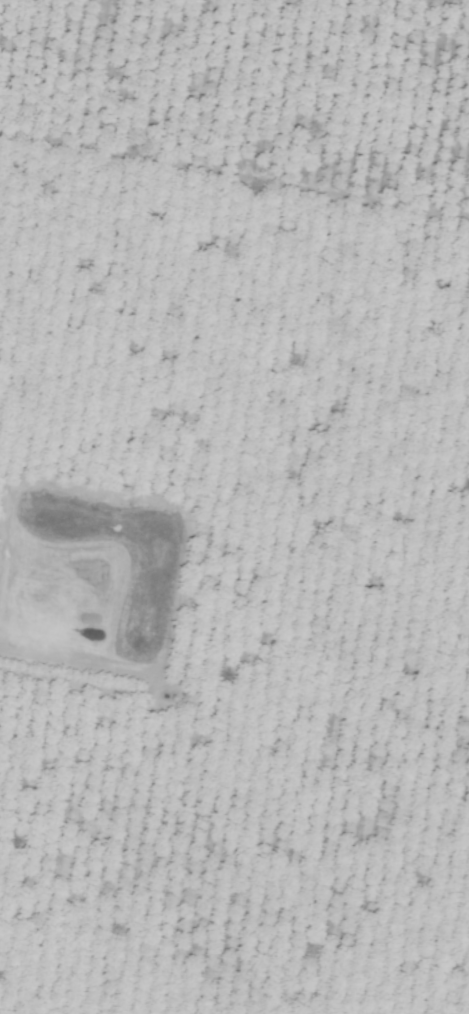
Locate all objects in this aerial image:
building: (4, 407)

